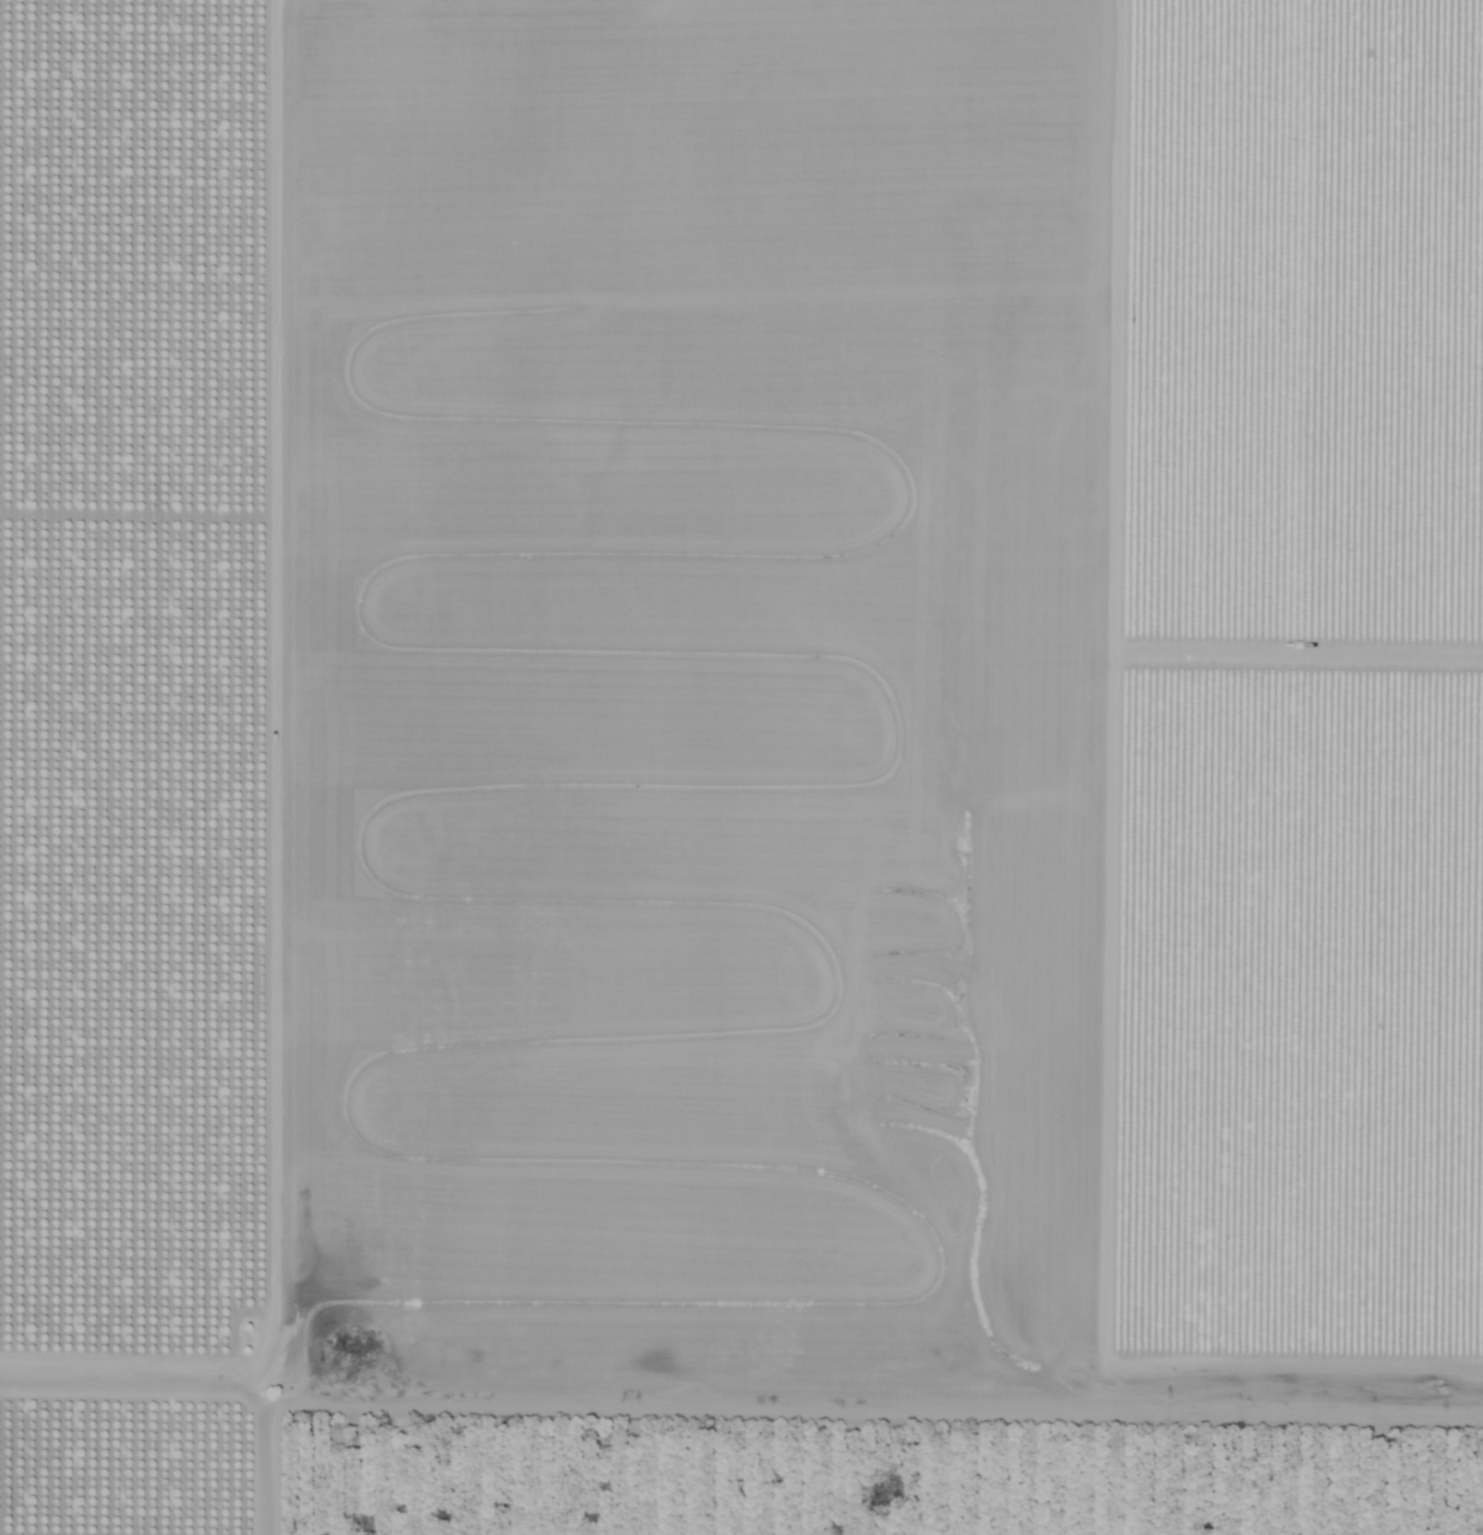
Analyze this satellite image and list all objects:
crop: (1331, 239)
crop: (762, 651)
crop: (1329, 890)
crop: (908, 1418)

